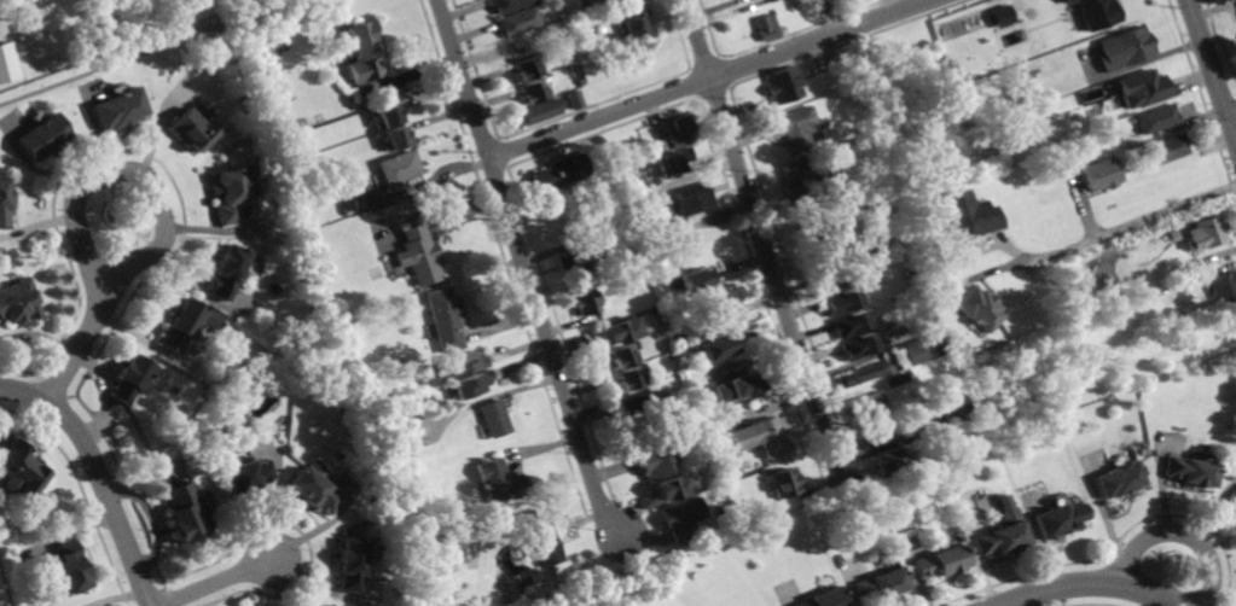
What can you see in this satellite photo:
building: (599, 0)
building: (1067, 0)
building: (507, 5)
building: (605, 12)
building: (1097, 13)
building: (1002, 14)
building: (518, 21)
building: (637, 25)
building: (767, 29)
building: (567, 47)
building: (1127, 49)
building: (362, 53)
building: (7, 62)
road: (1213, 65)
building: (528, 69)
building: (1029, 75)
road: (709, 78)
building: (581, 82)
building: (785, 86)
building: (1143, 88)
building: (535, 92)
building: (575, 100)
building: (120, 110)
building: (540, 111)
building: (385, 116)
building: (1159, 120)
road: (1234, 120)
building: (795, 128)
building: (193, 132)
building: (681, 133)
building: (43, 136)
building: (394, 138)
building: (660, 145)
building: (1167, 150)
building: (686, 155)
building: (1138, 159)
building: (399, 170)
building: (562, 173)
building: (1102, 174)
building: (800, 180)
building: (230, 193)
building: (361, 200)
building: (694, 200)
road: (75, 203)
building: (640, 203)
building: (5, 204)
building: (970, 214)
building: (333, 217)
building: (819, 223)
road: (761, 233)
building: (1206, 233)
road: (1112, 234)
building: (308, 239)
building: (419, 256)
building: (573, 262)
building: (909, 272)
building: (227, 273)
road: (527, 273)
building: (694, 279)
building: (836, 280)
building: (1224, 287)
building: (727, 297)
building: (905, 299)
building: (19, 302)
building: (588, 302)
building: (843, 302)
building: (981, 309)
building: (445, 319)
building: (675, 319)
building: (852, 324)
building: (187, 325)
building: (1224, 326)
building: (623, 331)
building: (661, 336)
building: (719, 346)
building: (859, 346)
building: (924, 349)
building: (625, 356)
building: (464, 363)
building: (861, 375)
building: (130, 379)
building: (632, 379)
building: (899, 379)
building: (471, 384)
building: (738, 388)
building: (639, 403)
building: (869, 407)
building: (952, 407)
building: (918, 416)
building: (494, 418)
building: (764, 431)
building: (881, 436)
building: (406, 437)
building: (730, 441)
building: (886, 461)
building: (654, 462)
building: (21, 470)
building: (1190, 472)
road: (98, 476)
building: (246, 477)
building: (1120, 479)
building: (500, 480)
building: (783, 482)
building: (673, 486)
building: (315, 491)
building: (1232, 497)
building: (650, 501)
building: (1235, 511)
building: (185, 513)
building: (683, 518)
building: (1060, 519)
road: (1178, 530)
building: (1003, 531)
building: (544, 542)
building: (940, 560)
building: (352, 566)
building: (71, 567)
road: (217, 581)
road: (1091, 583)
building: (880, 585)
building: (823, 599)
building: (329, 605)

